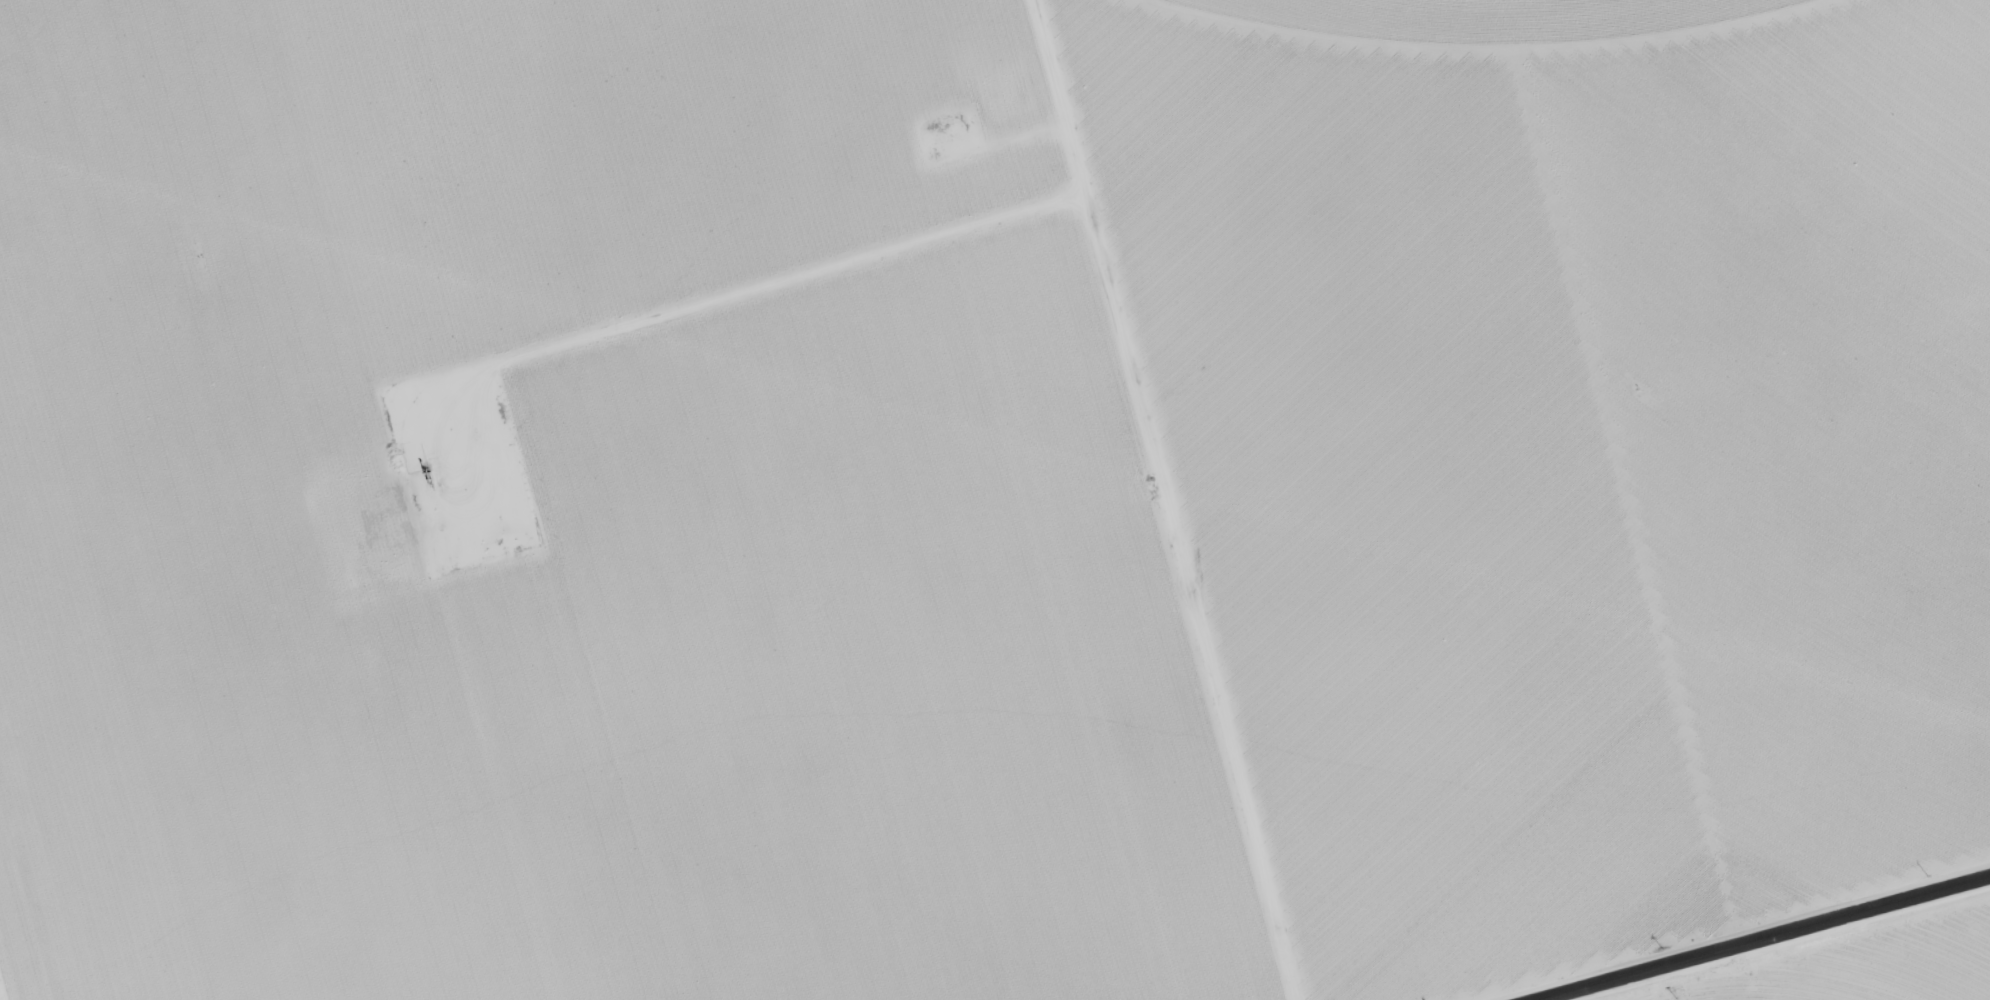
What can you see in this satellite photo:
road: (1935, 236)
road: (1775, 941)

